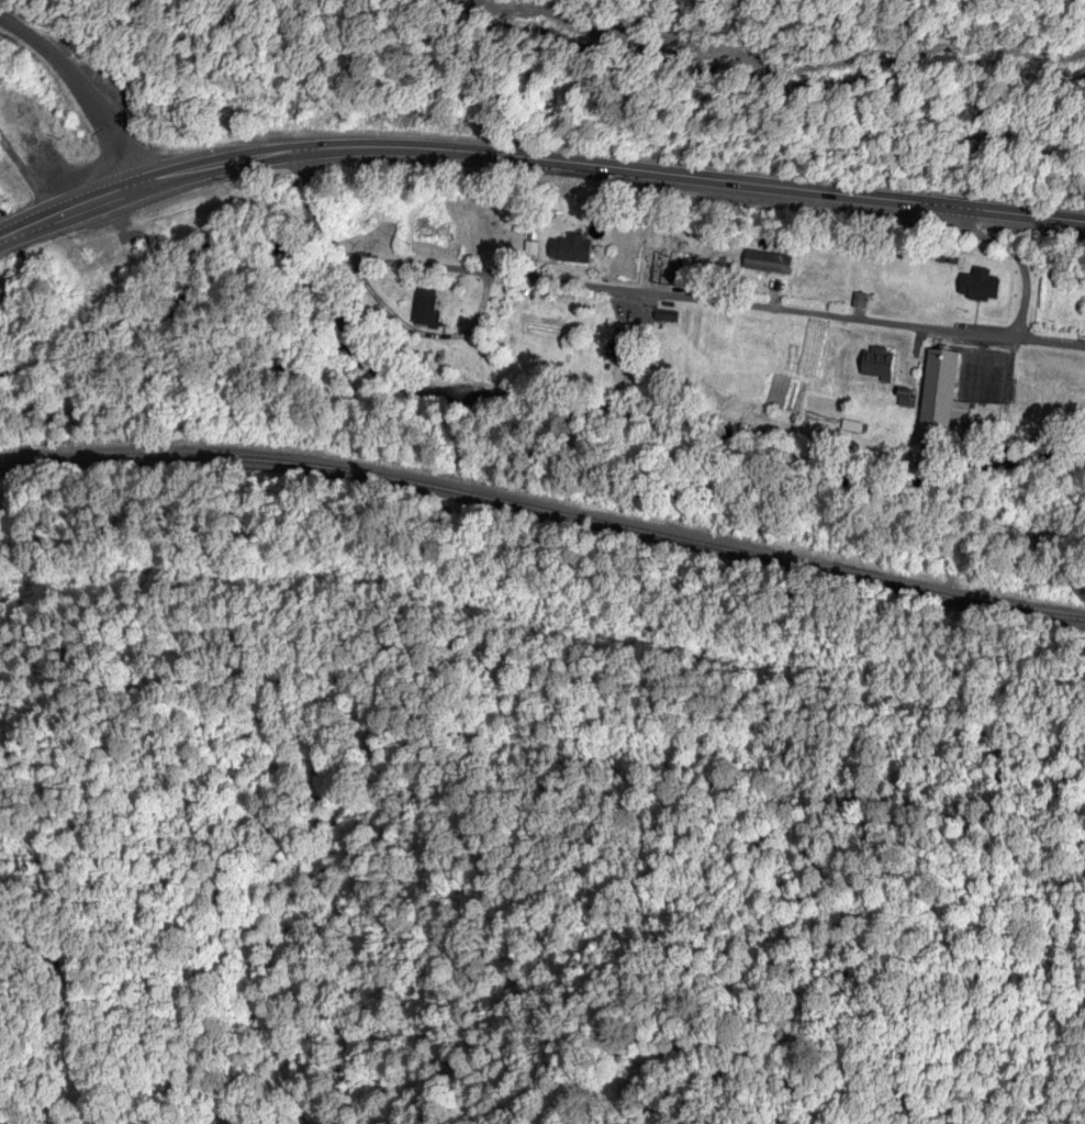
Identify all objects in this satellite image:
road: (793, 69)
road: (88, 87)
road: (536, 162)
building: (432, 233)
building: (578, 251)
road: (1013, 255)
building: (770, 264)
road: (434, 268)
building: (981, 287)
building: (428, 309)
road: (853, 320)
building: (626, 343)
building: (881, 363)
building: (941, 389)
building: (1047, 401)
railway: (545, 513)

